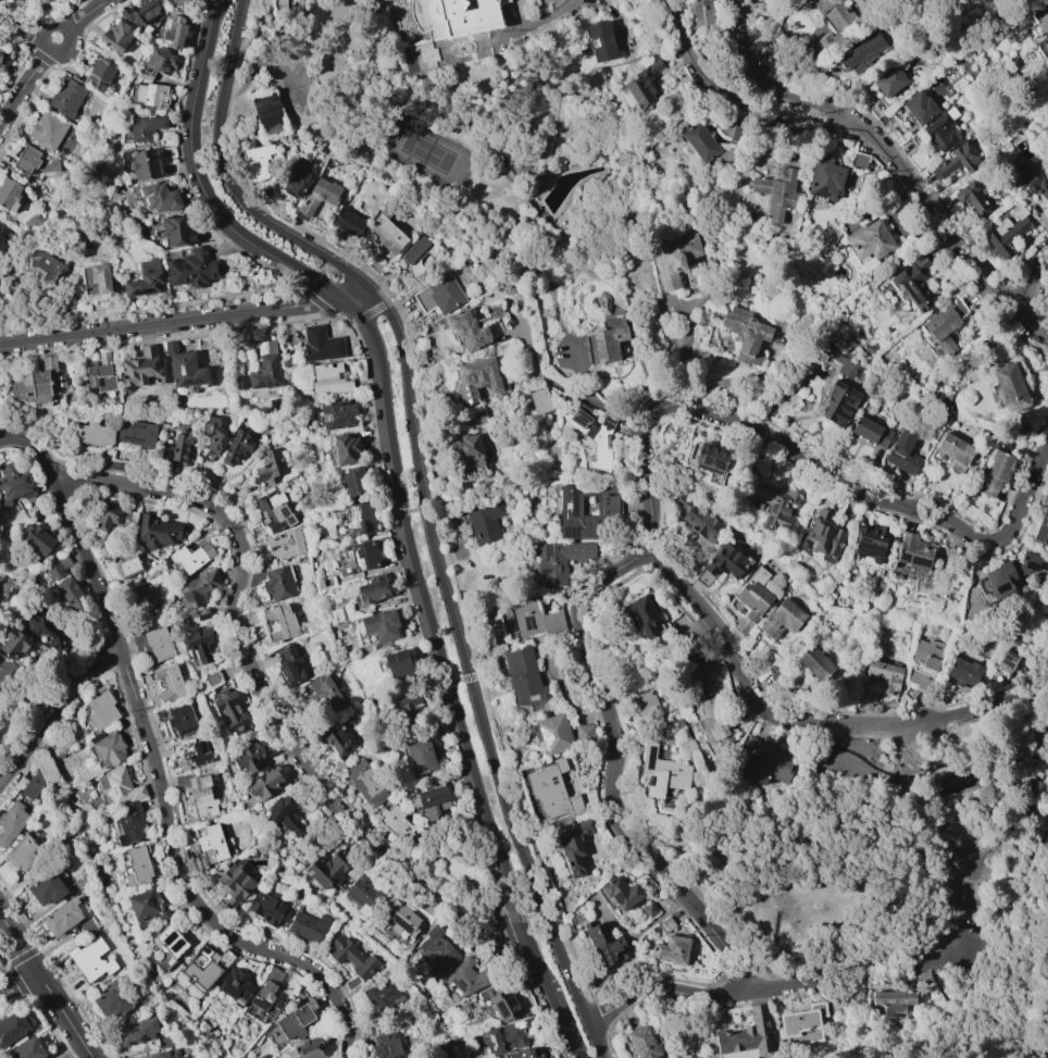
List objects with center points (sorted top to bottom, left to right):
building: (21, 0)
building: (47, 0)
building: (289, 1)
building: (178, 4)
building: (279, 7)
building: (141, 11)
building: (834, 11)
road: (87, 14)
building: (467, 15)
building: (703, 16)
building: (1041, 16)
road: (54, 26)
road: (23, 30)
building: (174, 33)
building: (115, 36)
building: (1046, 38)
building: (600, 41)
building: (826, 42)
building: (859, 51)
building: (1, 54)
building: (419, 58)
building: (159, 61)
road: (252, 72)
building: (100, 73)
building: (889, 80)
building: (642, 85)
road: (23, 87)
road: (784, 89)
building: (149, 95)
building: (66, 97)
road: (736, 104)
building: (919, 107)
building: (266, 112)
building: (145, 127)
building: (941, 129)
building: (48, 130)
building: (703, 145)
park: (429, 151)
building: (34, 161)
building: (860, 161)
building: (956, 161)
building: (258, 162)
building: (145, 164)
building: (824, 178)
building: (294, 179)
building: (1036, 184)
building: (777, 192)
building: (9, 194)
building: (319, 196)
building: (159, 197)
building: (971, 197)
building: (348, 223)
building: (177, 231)
building: (1009, 231)
building: (2, 232)
building: (386, 232)
building: (869, 240)
road: (933, 241)
road: (957, 242)
building: (1, 245)
building: (416, 254)
building: (674, 260)
building: (43, 266)
building: (192, 267)
building: (95, 278)
building: (146, 278)
road: (1034, 281)
building: (913, 283)
road: (355, 291)
building: (439, 295)
road: (173, 322)
road: (812, 326)
building: (943, 326)
building: (466, 329)
building: (753, 331)
building: (606, 340)
building: (321, 344)
building: (845, 360)
building: (184, 366)
building: (140, 368)
building: (265, 369)
building: (101, 373)
building: (329, 378)
building: (479, 378)
building: (38, 385)
building: (1008, 386)
building: (539, 400)
building: (838, 403)
building: (337, 414)
building: (478, 418)
building: (165, 420)
building: (871, 432)
building: (93, 433)
building: (136, 433)
building: (594, 436)
building: (212, 437)
building: (236, 447)
road: (392, 447)
building: (345, 449)
building: (180, 450)
building: (902, 451)
building: (956, 452)
building: (465, 455)
building: (707, 460)
building: (271, 464)
building: (996, 473)
road: (602, 474)
building: (354, 481)
building: (12, 483)
road: (498, 487)
building: (29, 494)
road: (650, 498)
road: (423, 499)
building: (1045, 499)
building: (776, 505)
building: (587, 509)
building: (275, 512)
building: (111, 518)
building: (360, 518)
building: (699, 519)
building: (484, 521)
building: (1041, 528)
building: (157, 532)
building: (822, 535)
building: (39, 539)
building: (285, 545)
building: (869, 546)
building: (911, 555)
building: (190, 556)
building: (361, 556)
building: (559, 560)
building: (726, 561)
building: (127, 565)
building: (58, 568)
building: (155, 573)
building: (1009, 574)
building: (277, 583)
building: (198, 588)
building: (372, 589)
building: (70, 592)
building: (146, 598)
building: (752, 598)
building: (201, 613)
building: (640, 615)
building: (534, 618)
building: (250, 619)
building: (781, 619)
building: (280, 621)
building: (380, 626)
building: (47, 630)
building: (199, 642)
building: (158, 644)
building: (14, 645)
building: (814, 662)
building: (289, 663)
building: (924, 663)
building: (395, 664)
building: (1002, 667)
building: (3, 669)
road: (251, 671)
building: (963, 672)
building: (524, 674)
building: (885, 674)
building: (213, 679)
building: (165, 682)
building: (323, 689)
building: (644, 702)
building: (409, 706)
building: (101, 708)
building: (229, 711)
road: (57, 712)
building: (180, 720)
building: (714, 721)
road: (806, 722)
road: (1040, 722)
building: (553, 732)
building: (584, 733)
building: (337, 737)
road: (1027, 737)
road: (1037, 738)
road: (1012, 744)
building: (108, 747)
road: (902, 752)
building: (196, 756)
building: (421, 756)
building: (250, 757)
building: (765, 761)
road: (922, 766)
road: (971, 767)
building: (661, 772)
road: (887, 779)
building: (265, 783)
building: (366, 783)
road: (1007, 783)
road: (1025, 783)
building: (34, 784)
building: (121, 786)
road: (991, 789)
building: (551, 791)
building: (198, 793)
road: (938, 798)
building: (432, 799)
road: (163, 800)
road: (964, 802)
road: (1037, 802)
road: (895, 804)
building: (286, 812)
road: (815, 813)
road: (1038, 813)
building: (11, 822)
building: (128, 823)
building: (395, 824)
road: (922, 845)
building: (209, 846)
building: (574, 846)
road: (891, 846)
building: (23, 850)
road: (936, 850)
road: (1045, 851)
park: (898, 859)
road: (951, 862)
building: (138, 866)
park: (458, 867)
building: (326, 868)
building: (236, 883)
building: (46, 888)
building: (363, 892)
building: (620, 892)
road: (1034, 901)
building: (145, 908)
building: (266, 908)
building: (648, 909)
road: (955, 909)
building: (61, 918)
building: (403, 919)
building: (665, 924)
building: (308, 926)
building: (88, 928)
road: (782, 929)
road: (1014, 937)
building: (170, 941)
road: (18, 942)
building: (604, 943)
parking lot: (962, 944)
building: (438, 948)
road: (946, 948)
building: (672, 949)
building: (225, 958)
building: (91, 959)
building: (351, 959)
road: (984, 963)
road: (894, 967)
road: (850, 968)
building: (201, 969)
building: (467, 976)
building: (924, 980)
road: (17, 982)
building: (235, 984)
road: (783, 985)
road: (660, 987)
building: (267, 995)
building: (383, 995)
road: (557, 999)
building: (894, 999)
building: (115, 1000)
building: (500, 1001)
road: (985, 1011)
road: (65, 1015)
building: (296, 1020)
building: (803, 1023)
building: (12, 1028)
building: (367, 1029)
building: (137, 1031)
building: (748, 1034)
building: (507, 1035)
building: (166, 1040)
building: (641, 1042)
building: (386, 1046)
road: (578, 1048)
building: (28, 1049)
building: (305, 1049)
building: (527, 1053)
building: (166, 1055)

